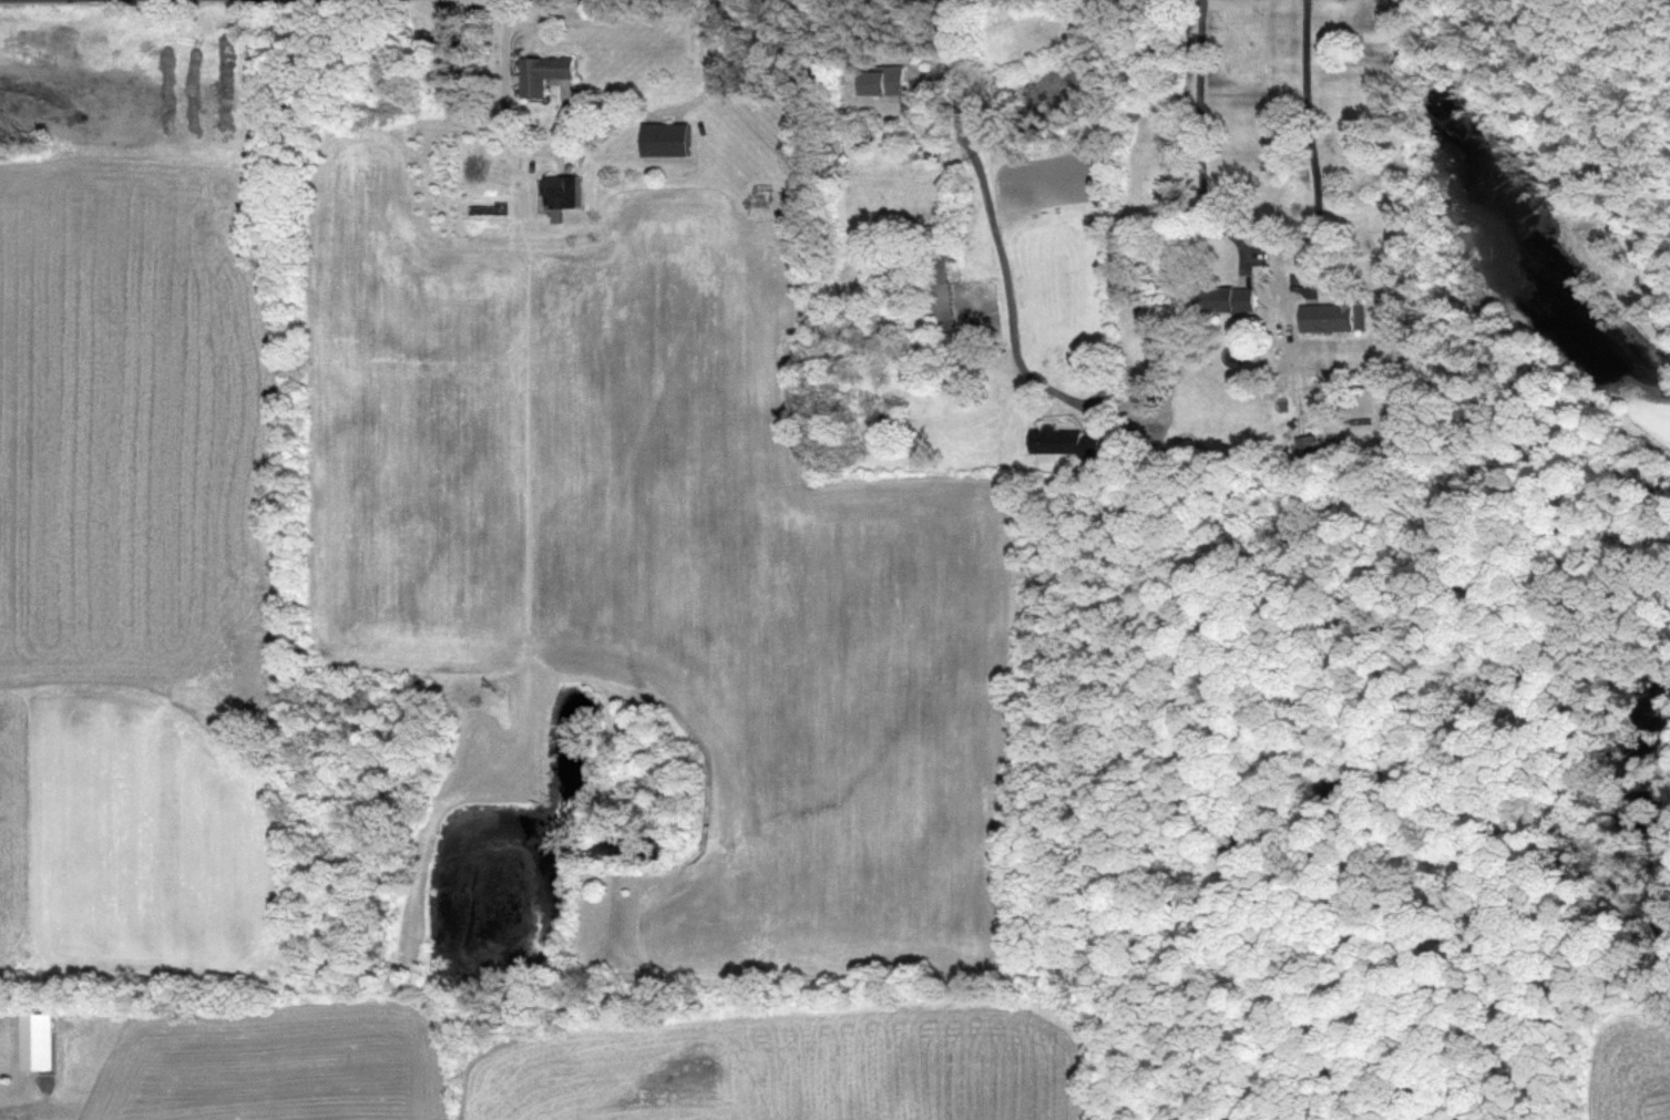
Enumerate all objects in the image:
road: (710, 60)
building: (543, 72)
landfill: (125, 76)
building: (881, 79)
road: (505, 103)
building: (665, 137)
road: (1298, 152)
road: (1196, 154)
building: (562, 191)
road: (992, 213)
building: (1223, 298)
building: (941, 304)
building: (1331, 316)
building: (1141, 397)
building: (1305, 445)
building: (34, 1039)
crop: (1627, 1062)
road: (33, 1104)

